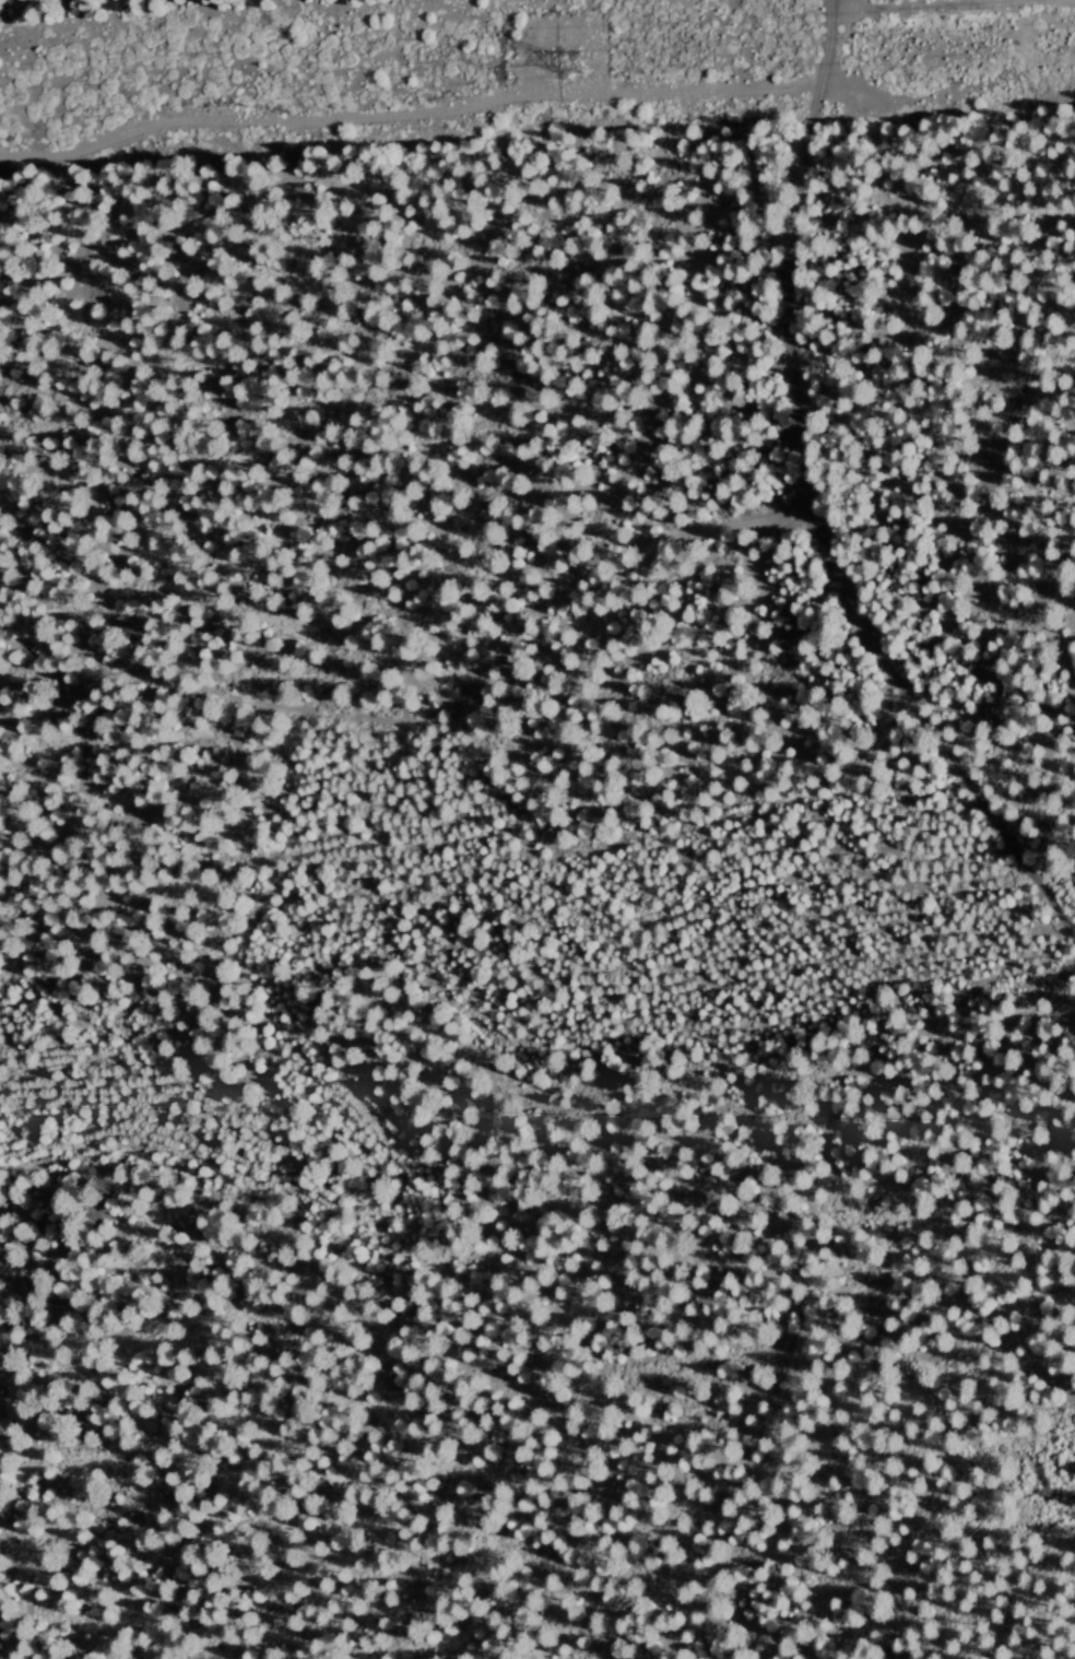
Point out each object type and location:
power tower: (575, 61)
road: (812, 517)

